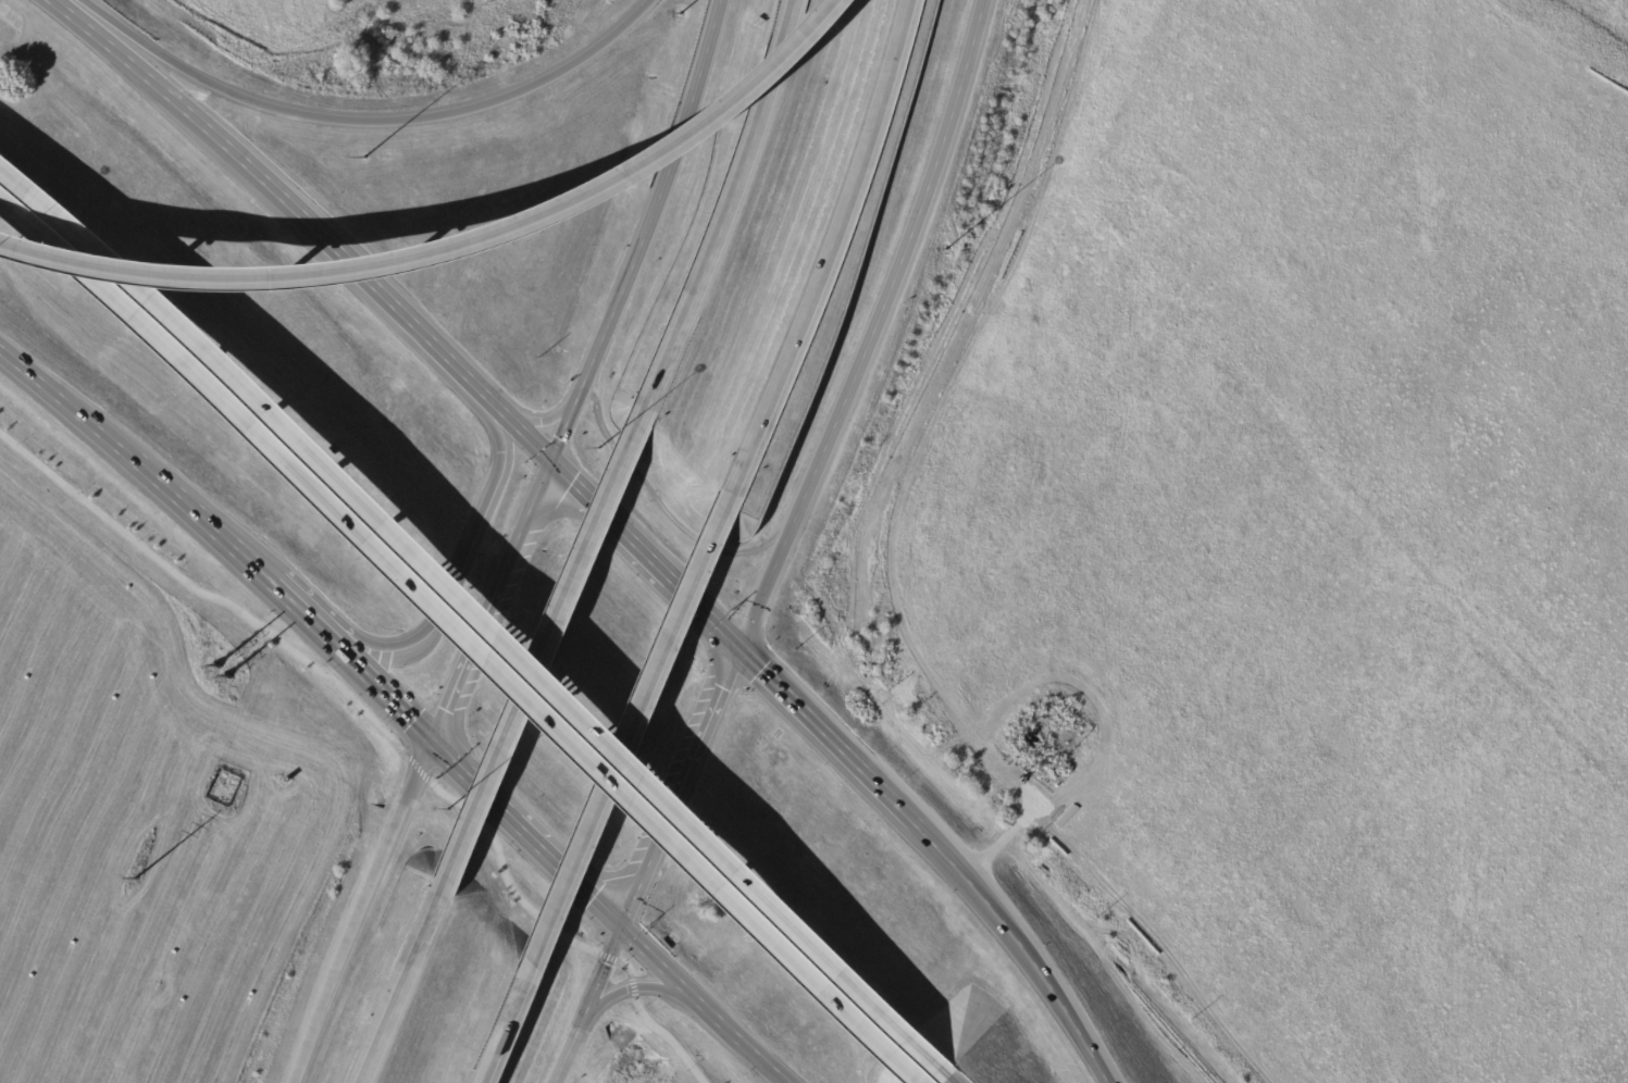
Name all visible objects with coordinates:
road: (57, 10)
road: (368, 121)
road: (197, 126)
road: (732, 208)
road: (644, 235)
road: (456, 249)
road: (825, 249)
road: (403, 321)
road: (877, 329)
road: (198, 338)
road: (190, 364)
road: (69, 401)
road: (545, 422)
road: (519, 433)
traffic signals: (549, 464)
road: (206, 521)
road: (609, 523)
road: (521, 530)
road: (457, 568)
road: (206, 596)
road: (300, 609)
road: (704, 617)
road: (547, 648)
traffic signals: (740, 651)
road: (463, 667)
power tower: (222, 672)
road: (378, 686)
road: (642, 717)
traffic signals: (433, 738)
road: (827, 738)
road: (419, 769)
road: (474, 780)
road: (680, 788)
road: (662, 796)
road: (643, 812)
road: (959, 871)
road: (568, 873)
road: (504, 875)
power tower: (135, 879)
road: (364, 909)
traffic signals: (621, 925)
road: (607, 958)
road: (625, 967)
road: (602, 970)
road: (682, 982)
road: (406, 984)
road: (632, 986)
road: (635, 987)
road: (1058, 999)
road: (521, 1009)
road: (669, 1037)
road: (569, 1049)
road: (767, 1061)
road: (946, 1075)

